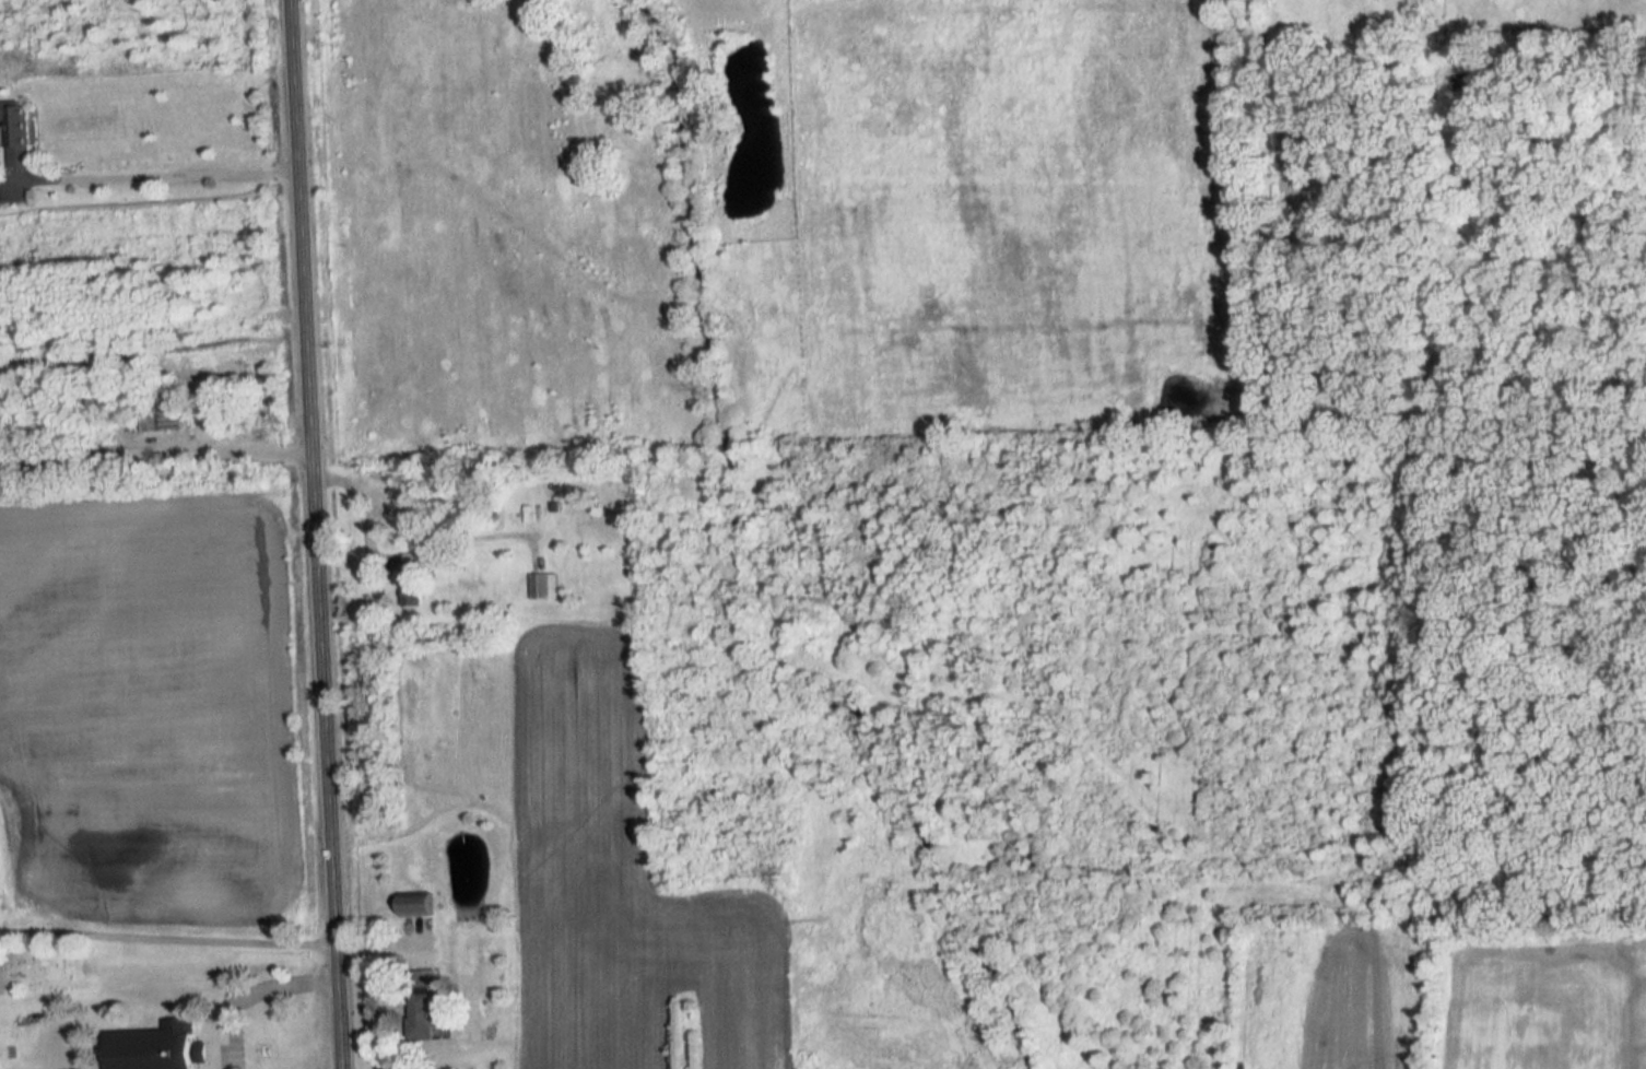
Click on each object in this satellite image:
building: (16, 133)
road: (164, 171)
road: (153, 444)
road: (356, 497)
road: (311, 533)
building: (410, 579)
building: (543, 586)
building: (415, 906)
road: (243, 990)
building: (422, 1007)
building: (161, 1047)

